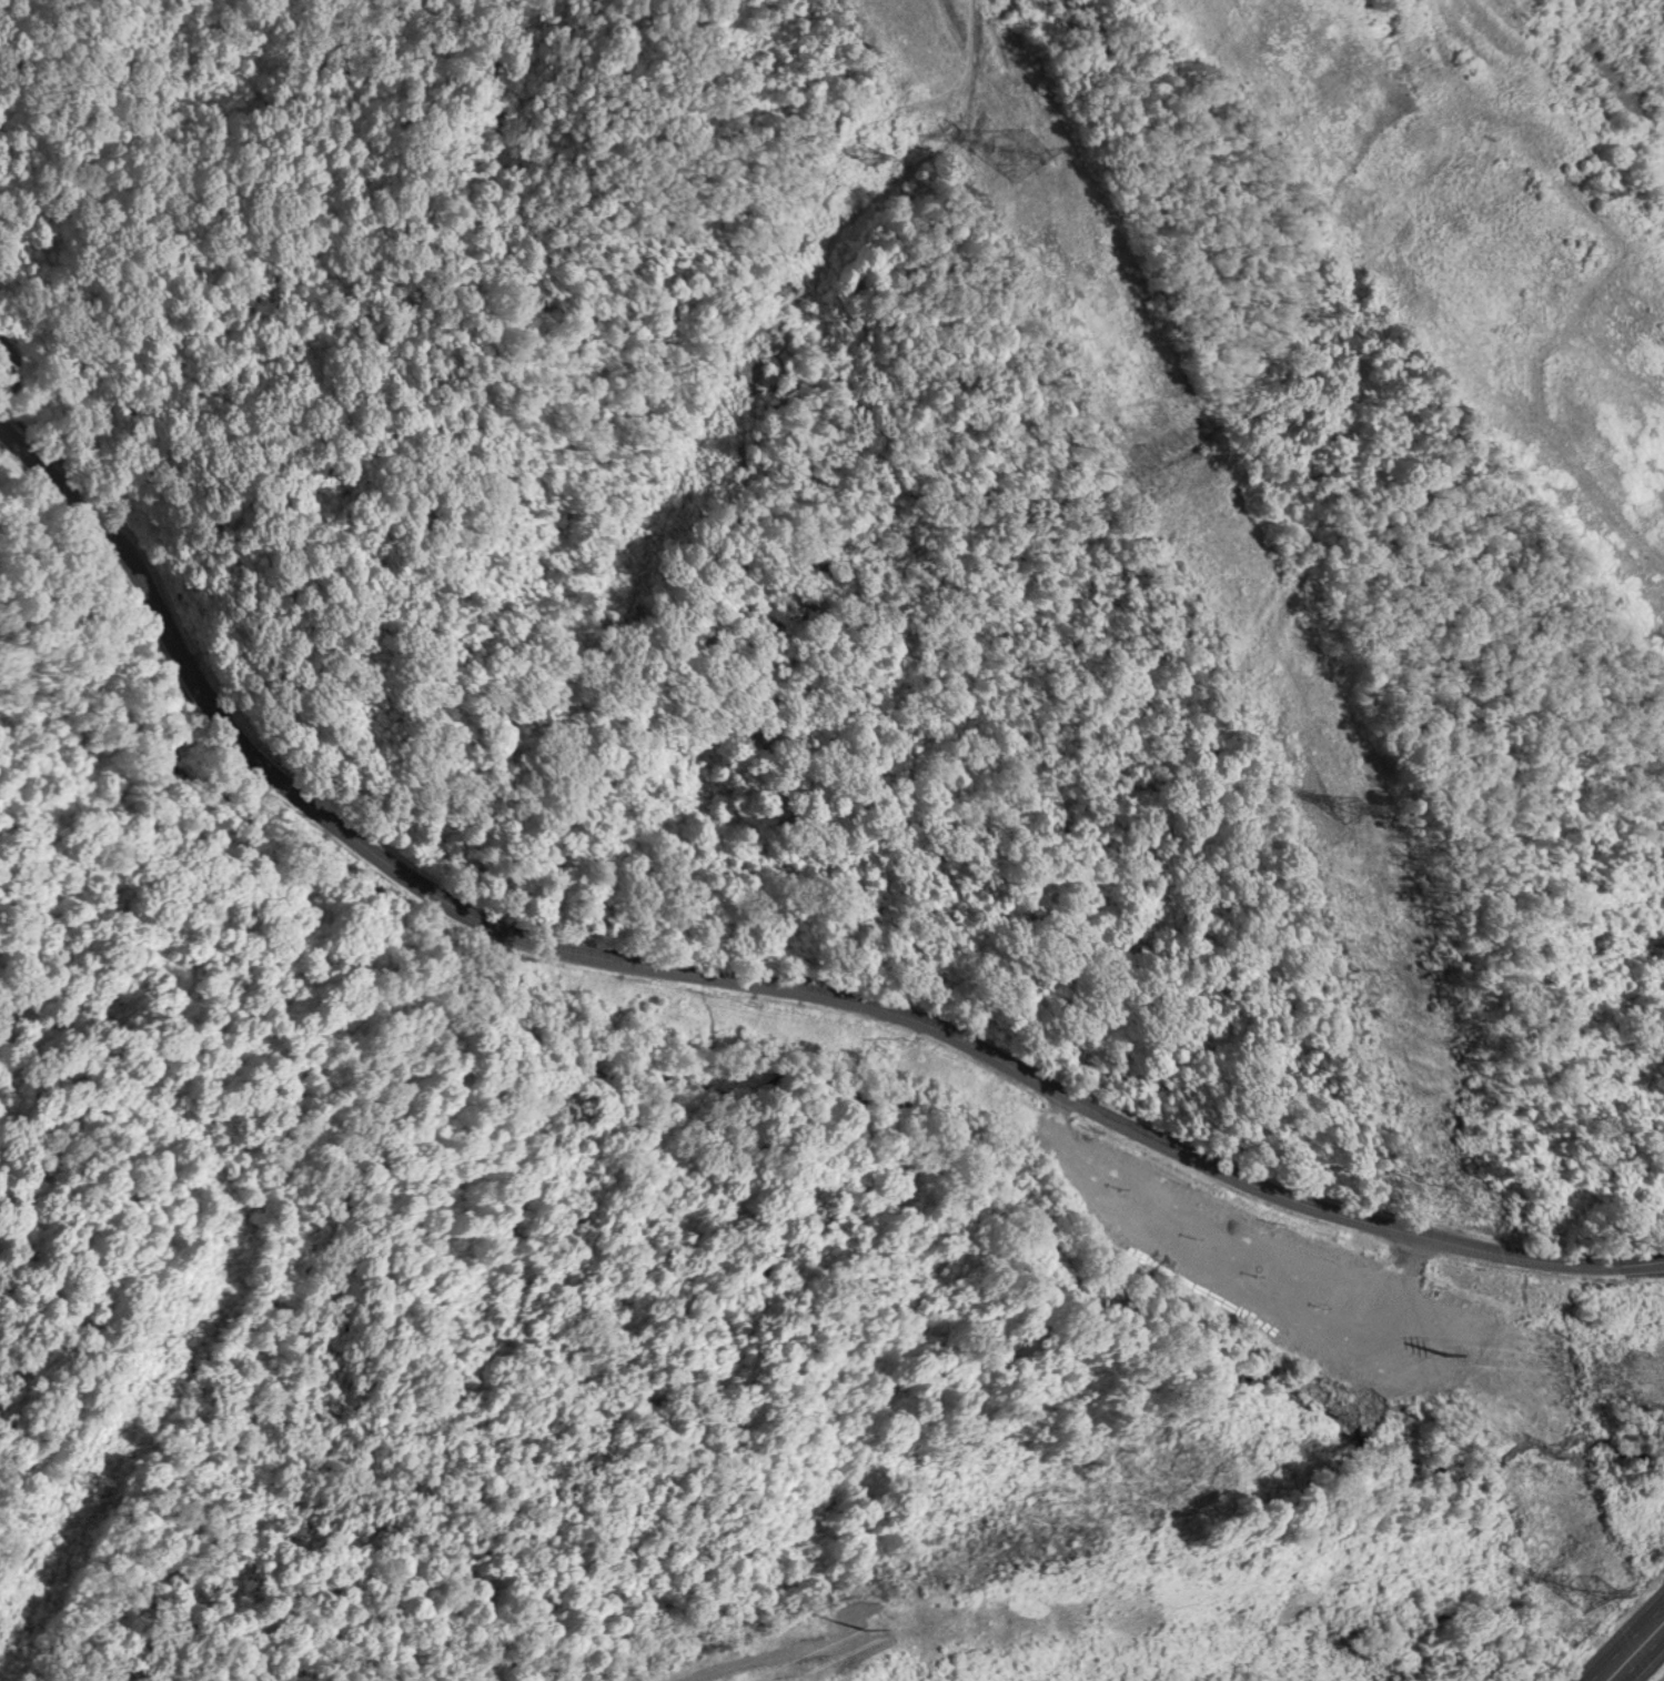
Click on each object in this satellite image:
power tower: (1013, 133)
power tower: (1597, 197)
power tower: (1167, 422)
power tower: (1349, 808)
road: (738, 982)
power tower: (1524, 1556)
power tower: (1579, 1592)
power tower: (888, 1619)
road: (1627, 1643)
road: (1640, 1657)

